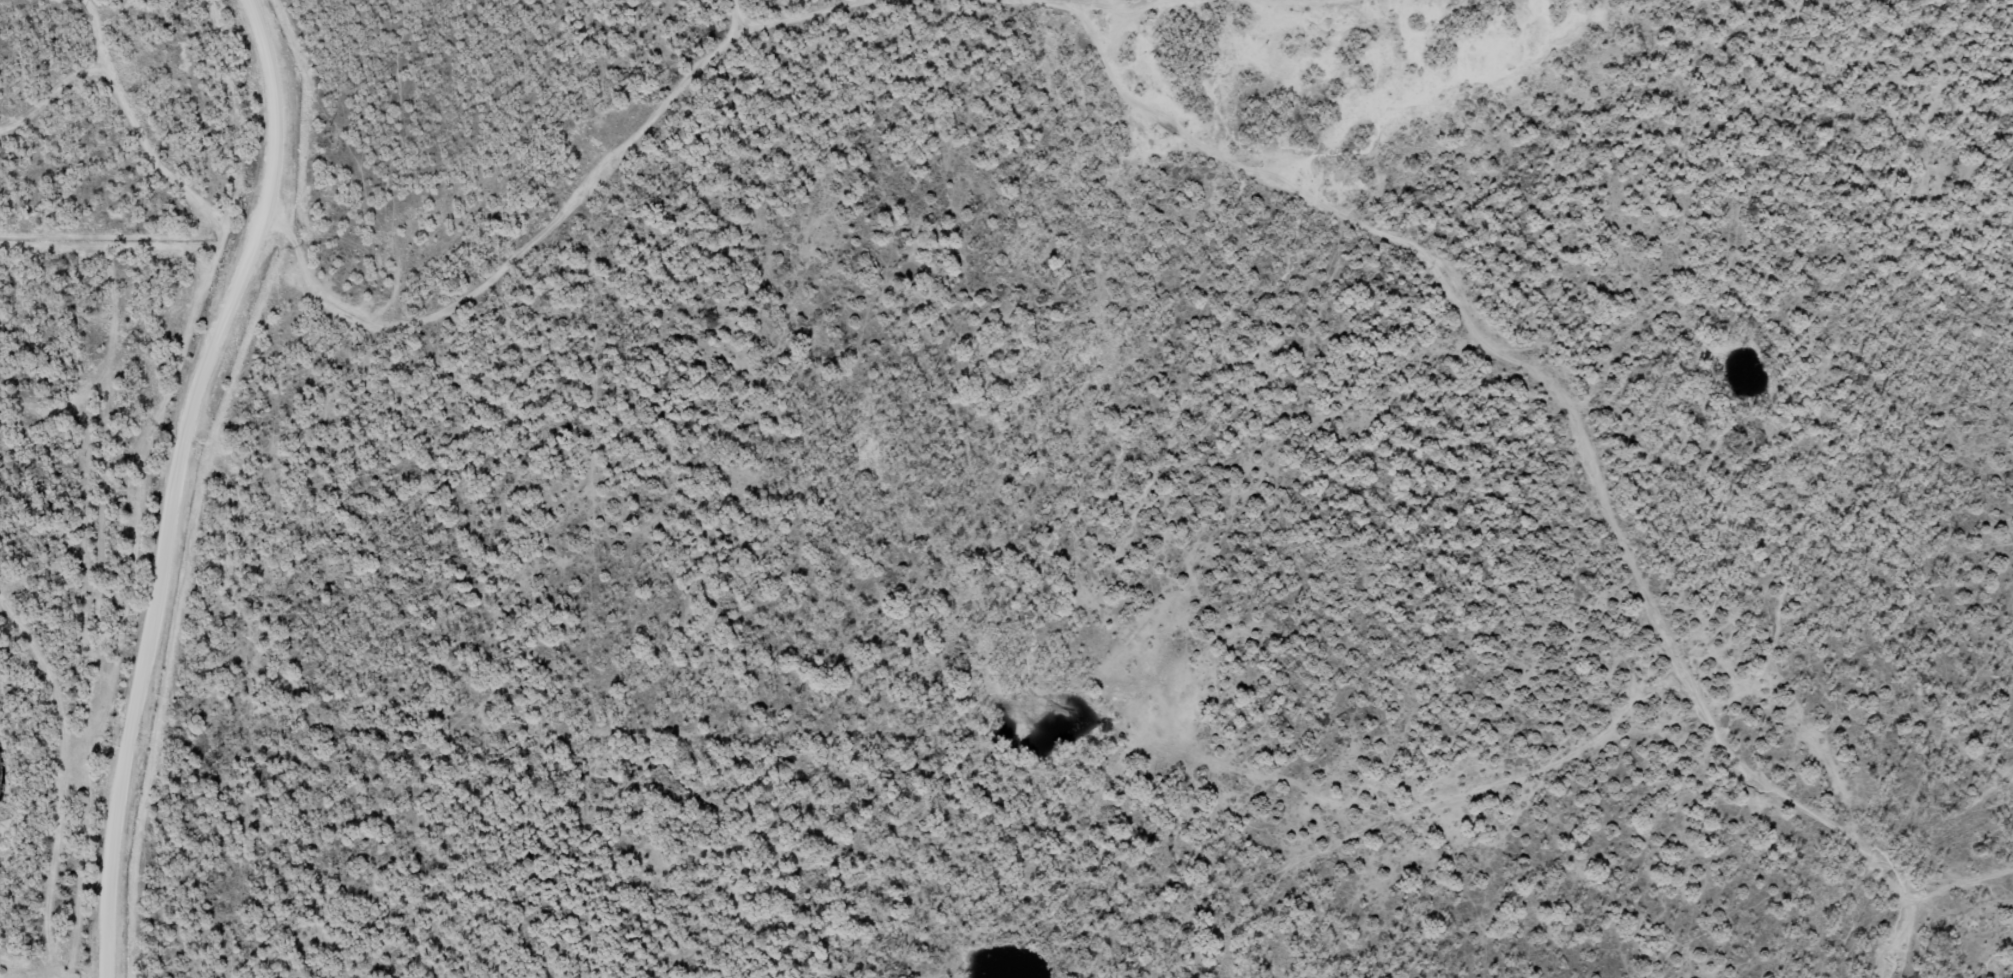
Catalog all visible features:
road: (748, 24)
road: (1132, 32)
road: (601, 232)
park: (368, 396)
road: (1586, 452)
road: (209, 499)
road: (48, 780)
road: (115, 966)

